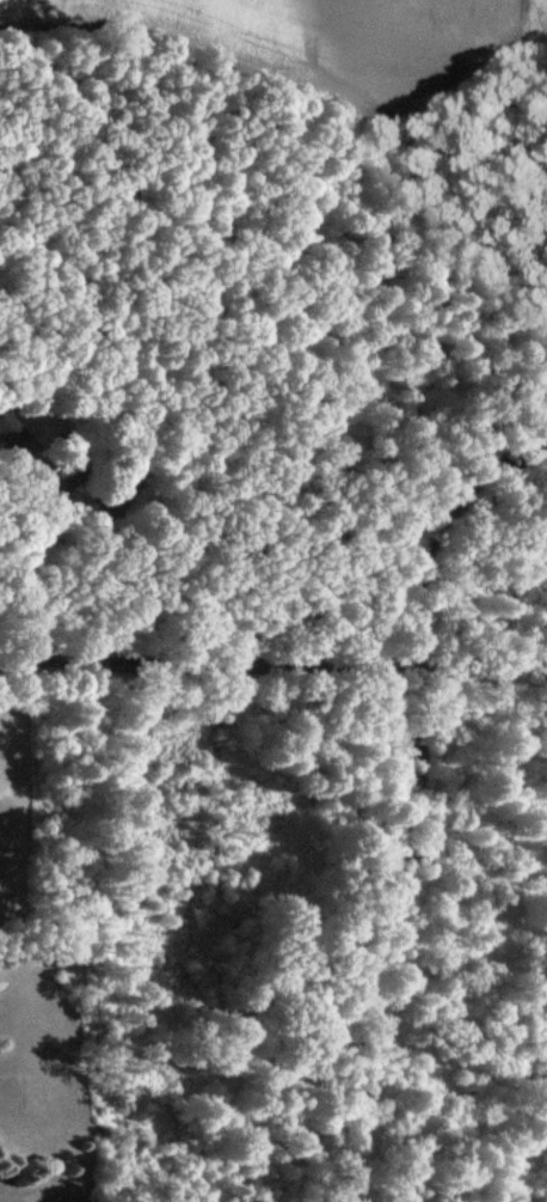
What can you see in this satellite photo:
road: (87, 572)
road: (273, 671)

